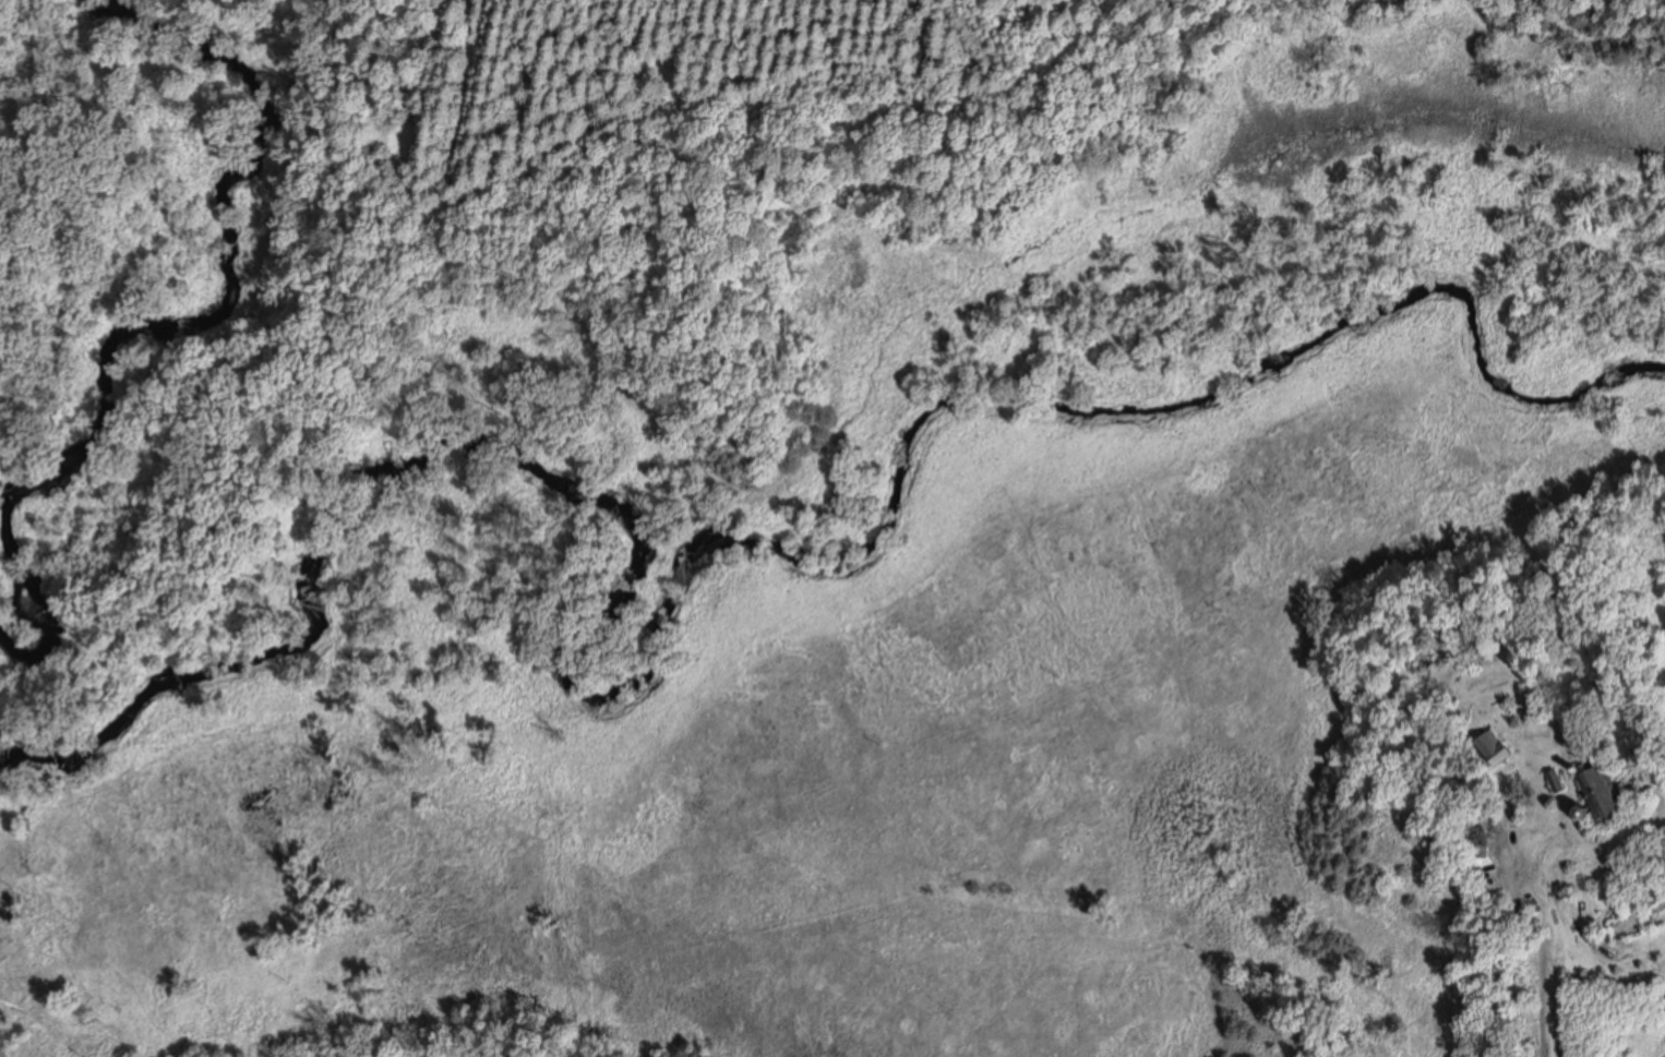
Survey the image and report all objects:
building: (1497, 746)
building: (1601, 800)
building: (1482, 849)

